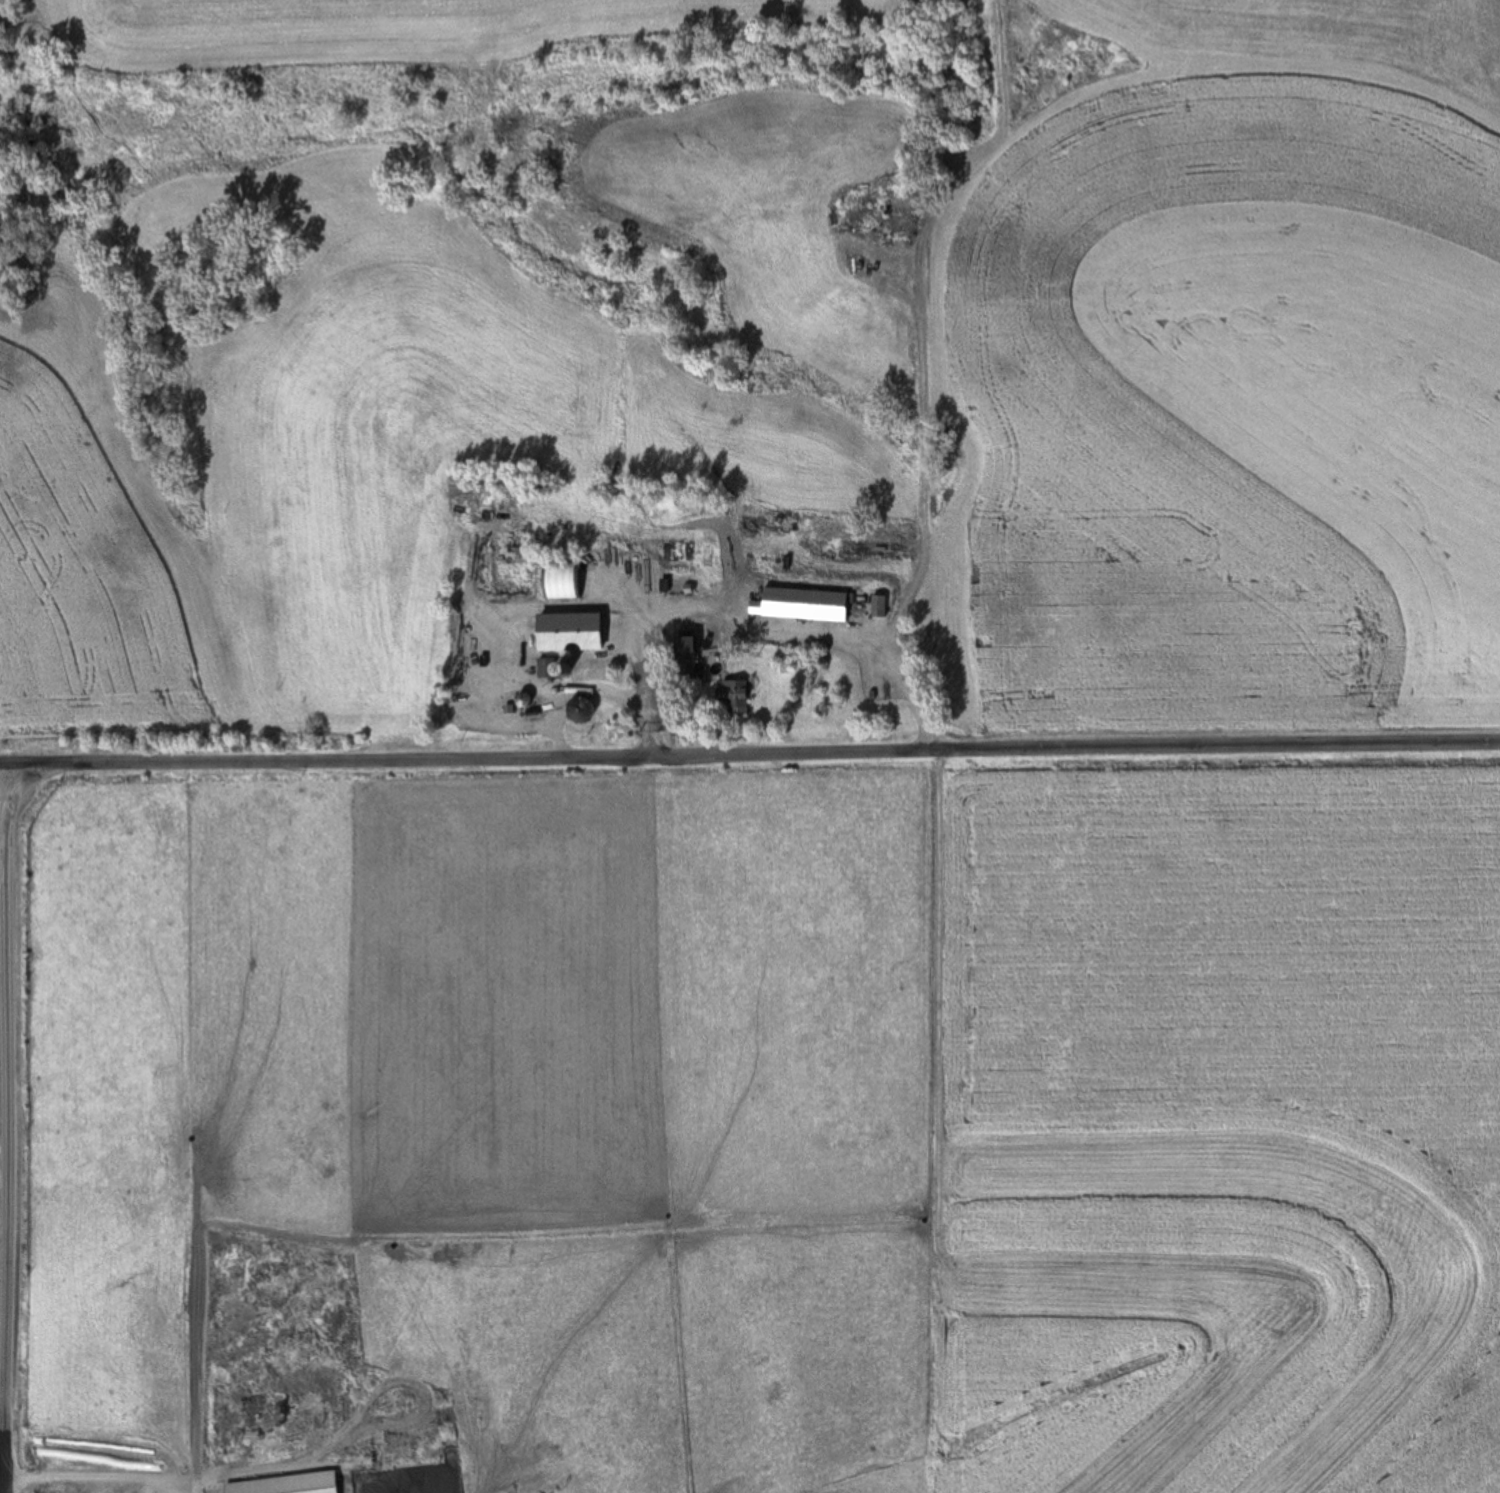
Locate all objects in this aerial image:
building: (561, 581)
building: (804, 605)
building: (698, 633)
building: (635, 638)
building: (577, 646)
building: (686, 665)
building: (554, 671)
building: (482, 682)
building: (735, 696)
building: (521, 703)
building: (579, 710)
road: (749, 751)
road: (7, 1127)
building: (284, 1484)

